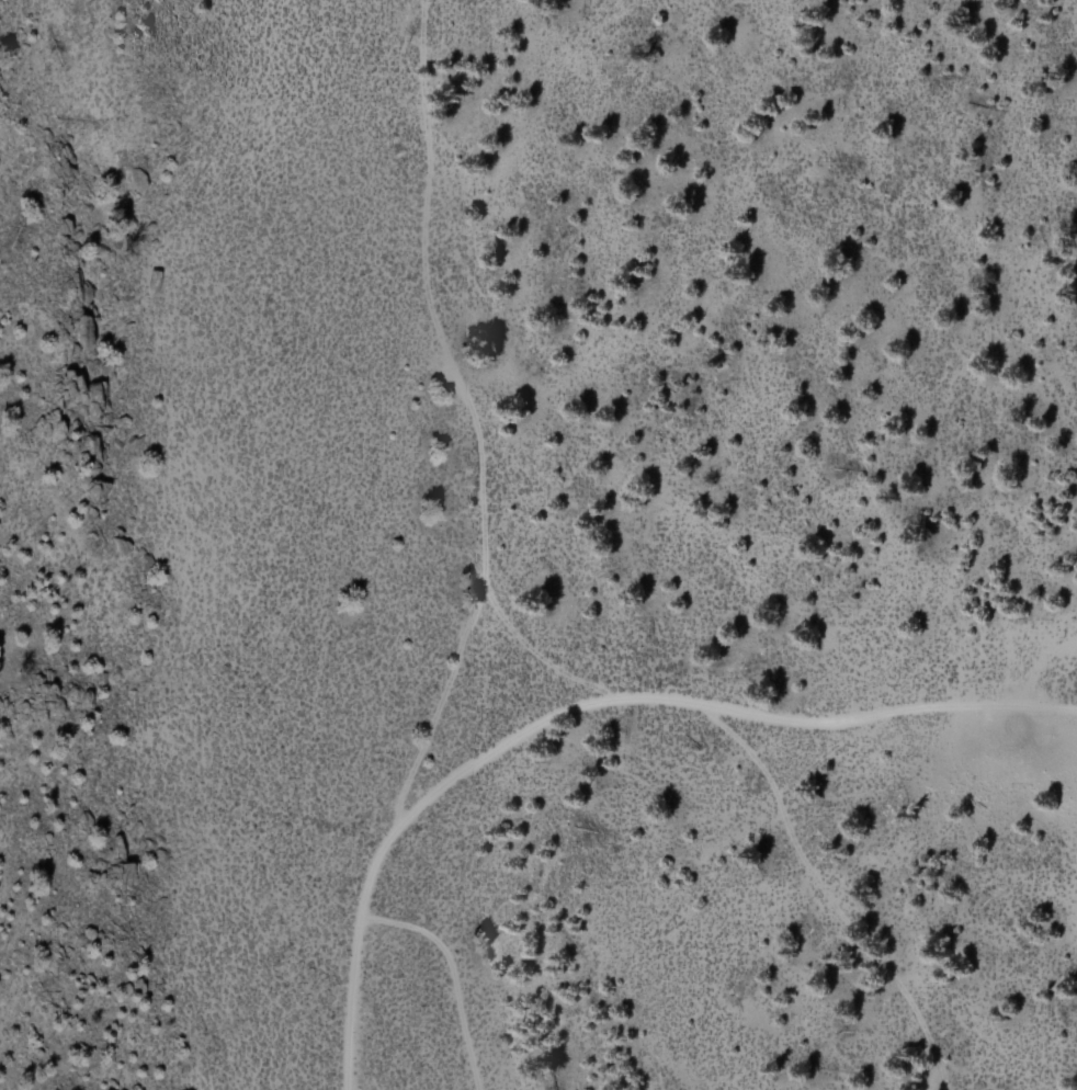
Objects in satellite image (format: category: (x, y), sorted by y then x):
road: (486, 418)
road: (534, 668)
road: (590, 706)
road: (819, 899)
road: (383, 942)
road: (462, 972)

